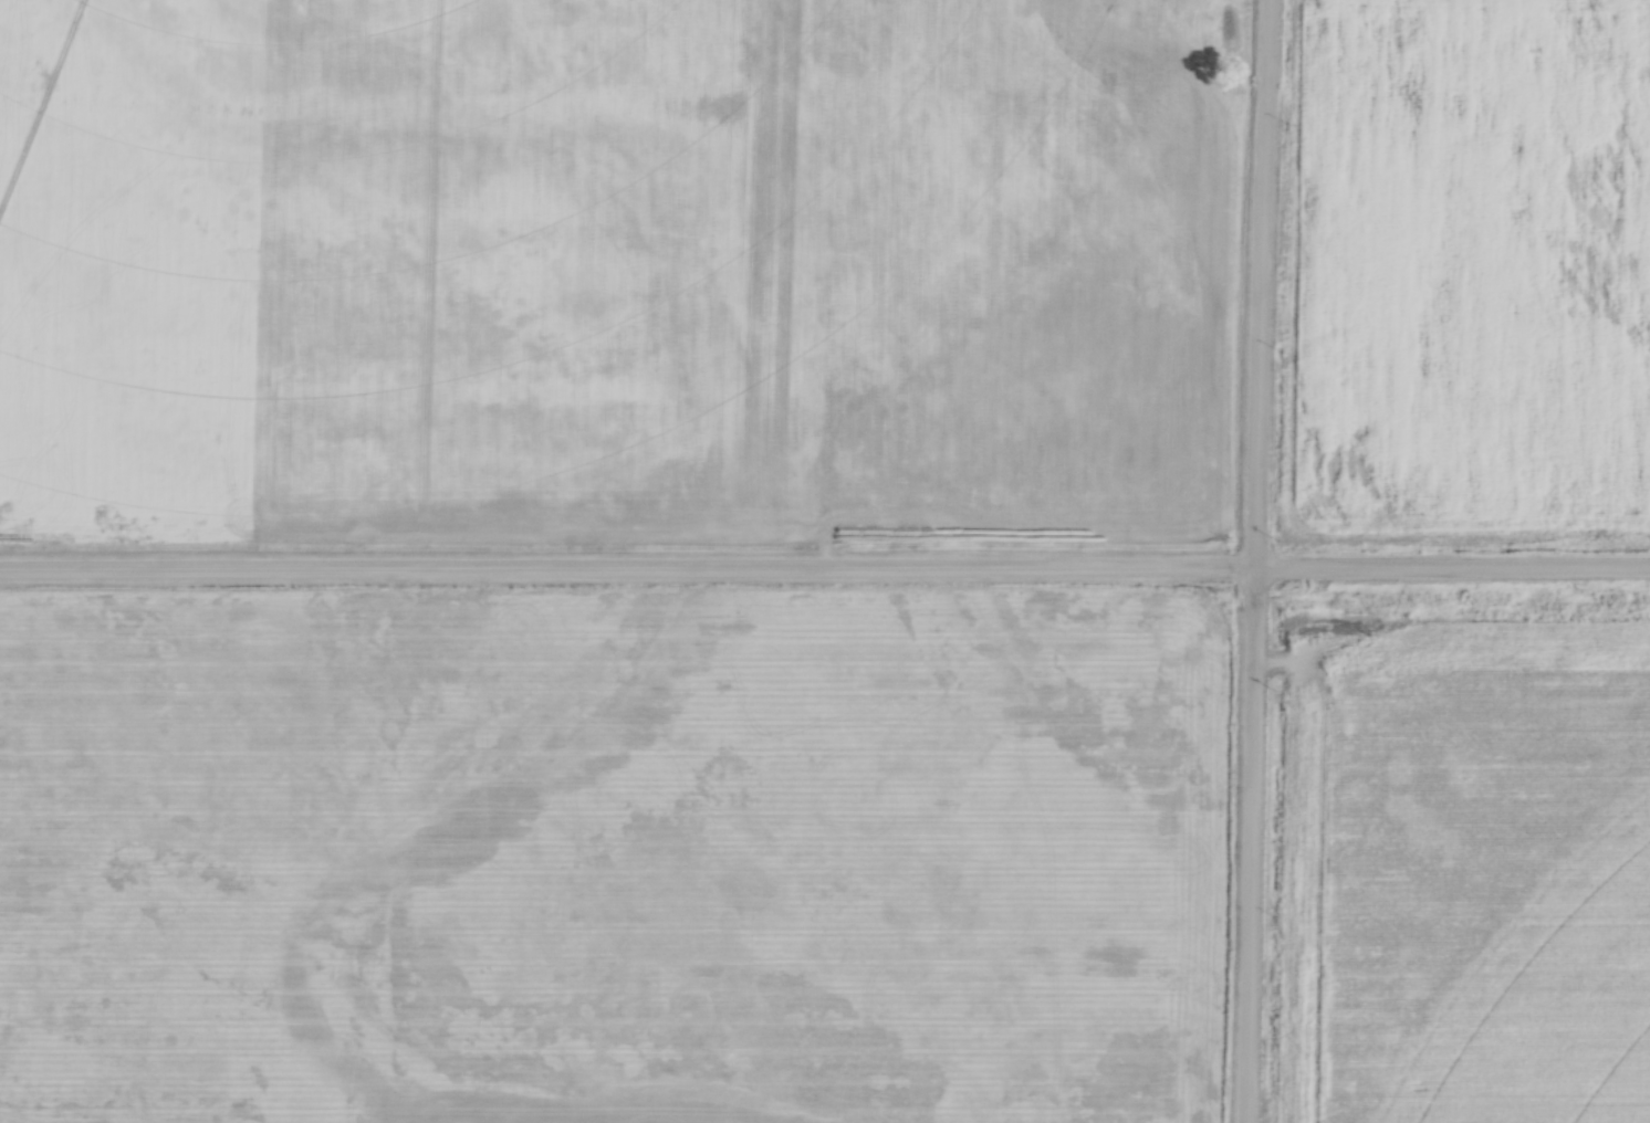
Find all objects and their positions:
road: (1255, 560)
road: (825, 568)

